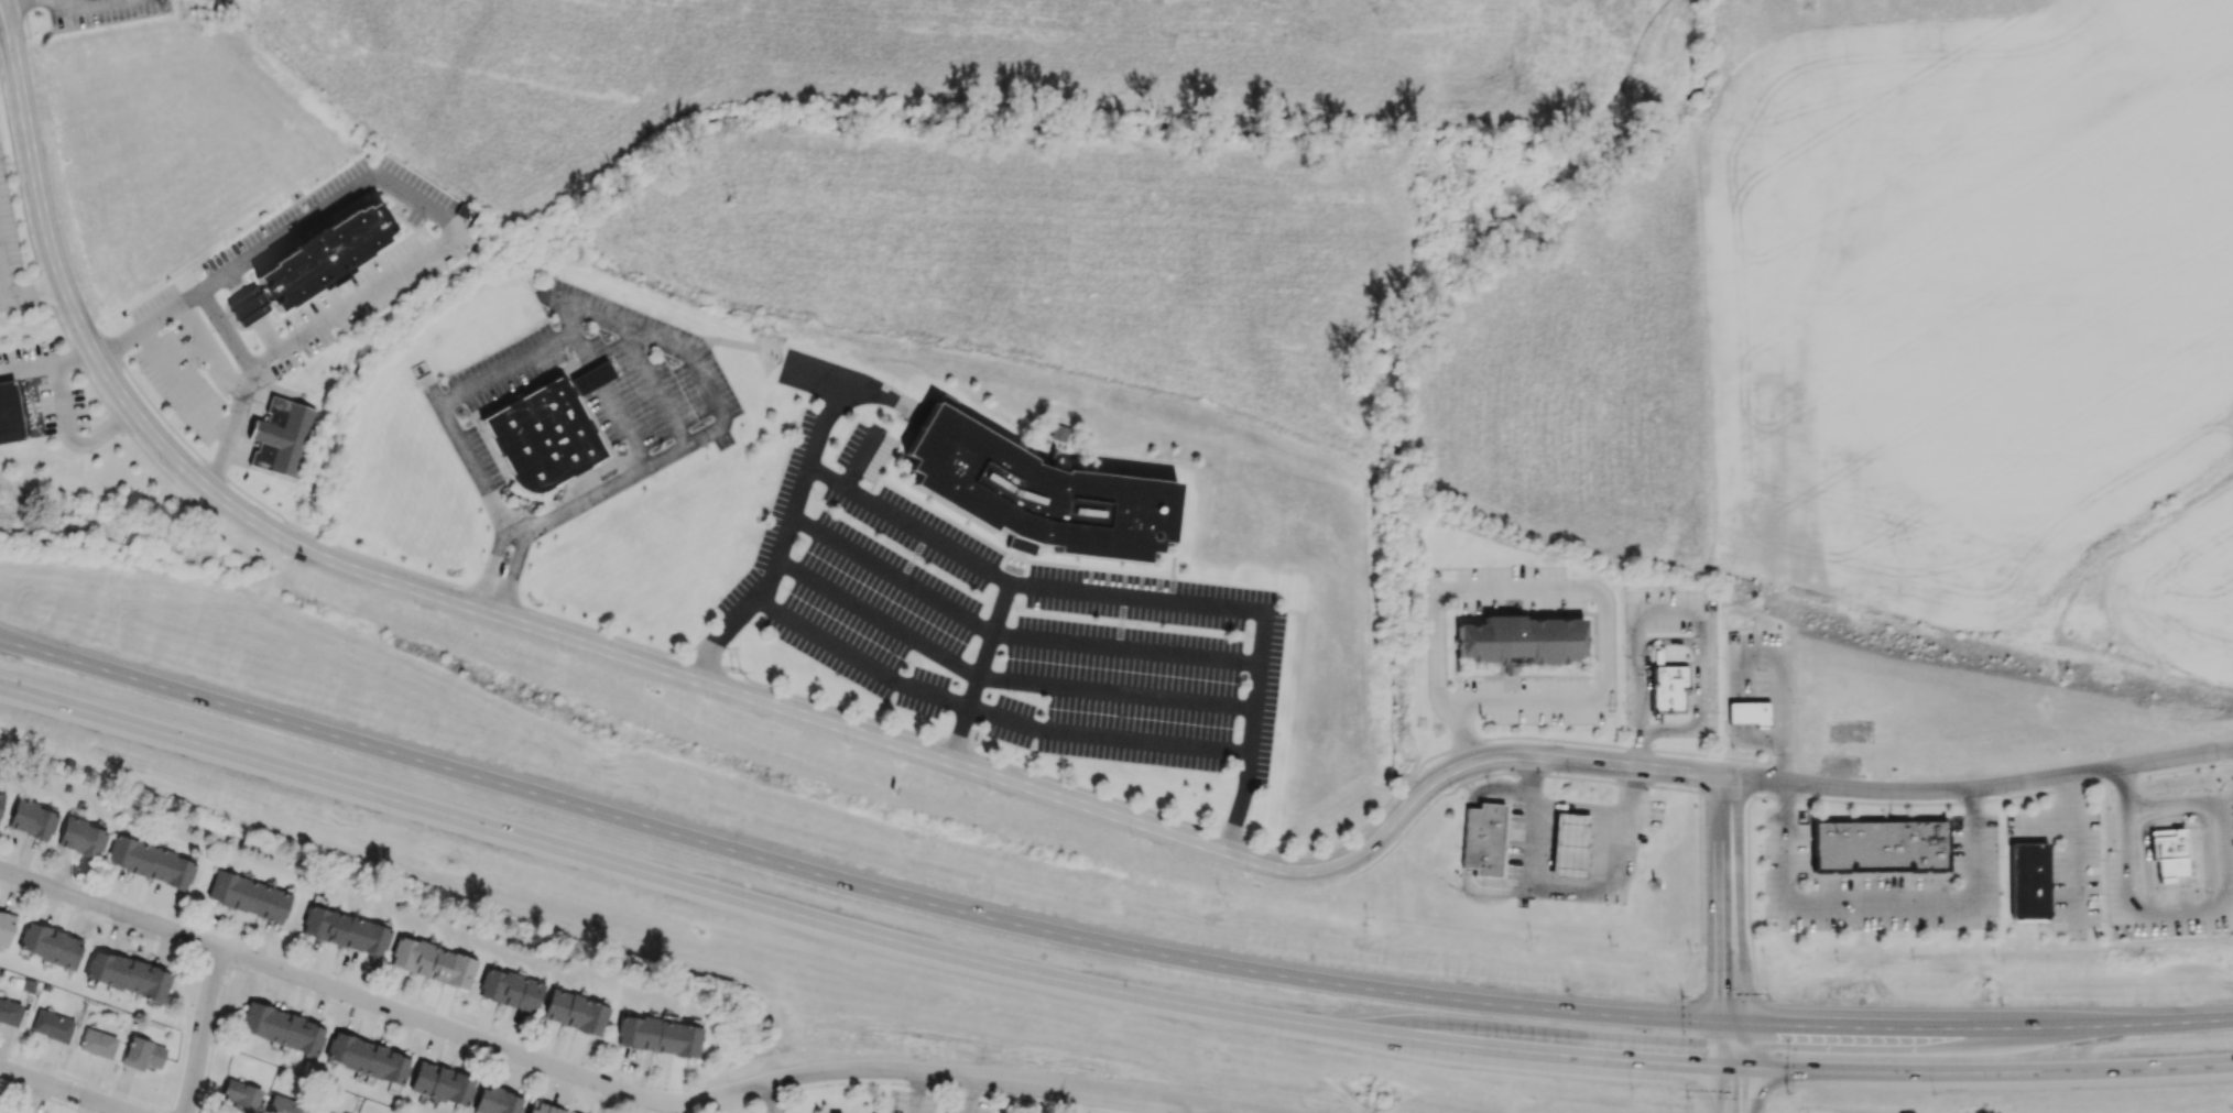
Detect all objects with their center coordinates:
road: (0, 0)
road: (20, 4)
road: (24, 19)
crop: (167, 148)
power tower: (737, 197)
road: (434, 209)
building: (331, 258)
road: (2, 281)
road: (31, 291)
building: (254, 305)
road: (253, 313)
road: (59, 326)
road: (225, 330)
road: (721, 338)
road: (215, 349)
road: (506, 364)
road: (26, 369)
building: (591, 377)
parking lot: (181, 379)
parking lot: (46, 384)
road: (832, 402)
road: (39, 404)
building: (9, 412)
road: (63, 415)
building: (1056, 432)
building: (544, 436)
building: (284, 437)
road: (677, 446)
building: (1033, 491)
road: (1027, 578)
road: (1603, 604)
parking lot: (1009, 625)
road: (1011, 632)
building: (1519, 639)
road: (1687, 641)
road: (35, 650)
road: (976, 669)
road: (1778, 670)
power tower: (737, 675)
road: (1001, 678)
building: (1668, 688)
building: (1747, 711)
road: (990, 712)
road: (1743, 725)
road: (922, 736)
road: (1640, 749)
road: (1780, 762)
road: (2230, 763)
road: (948, 766)
road: (1500, 773)
road: (1496, 789)
road: (1728, 790)
road: (1831, 799)
building: (31, 819)
road: (1531, 823)
building: (80, 837)
building: (1464, 837)
road: (1466, 837)
building: (1485, 838)
parking lot: (1561, 844)
building: (1569, 844)
building: (1875, 845)
road: (1730, 851)
road: (2072, 852)
building: (2168, 853)
building: (150, 861)
road: (1619, 871)
building: (2028, 881)
parking lot: (1881, 884)
road: (1484, 891)
building: (248, 895)
road: (1700, 898)
road: (1875, 905)
road: (2204, 906)
building: (6, 927)
building: (345, 930)
building: (48, 945)
road: (1135, 950)
building: (432, 961)
road: (1721, 971)
road: (1741, 972)
building: (127, 974)
road: (360, 981)
road: (1099, 989)
building: (510, 990)
road: (1731, 995)
road: (327, 999)
building: (9, 1012)
building: (575, 1012)
building: (51, 1025)
traffic signals: (1741, 1025)
building: (282, 1027)
road: (201, 1032)
building: (657, 1035)
building: (97, 1043)
power tower: (755, 1043)
road: (1763, 1046)
building: (142, 1054)
building: (367, 1058)
road: (1720, 1067)
traffic signals: (1741, 1068)
road: (1741, 1069)
road: (589, 1082)
building: (442, 1083)
road: (952, 1089)
road: (59, 1091)
road: (769, 1093)
road: (913, 1093)
building: (240, 1094)
road: (966, 1096)
road: (766, 1100)
building: (498, 1101)
parking lot: (934, 1103)
road: (1085, 1104)
road: (1764, 1104)
building: (284, 1105)
road: (727, 1106)
building: (543, 1107)
building: (317, 1111)
road: (1187, 1112)

